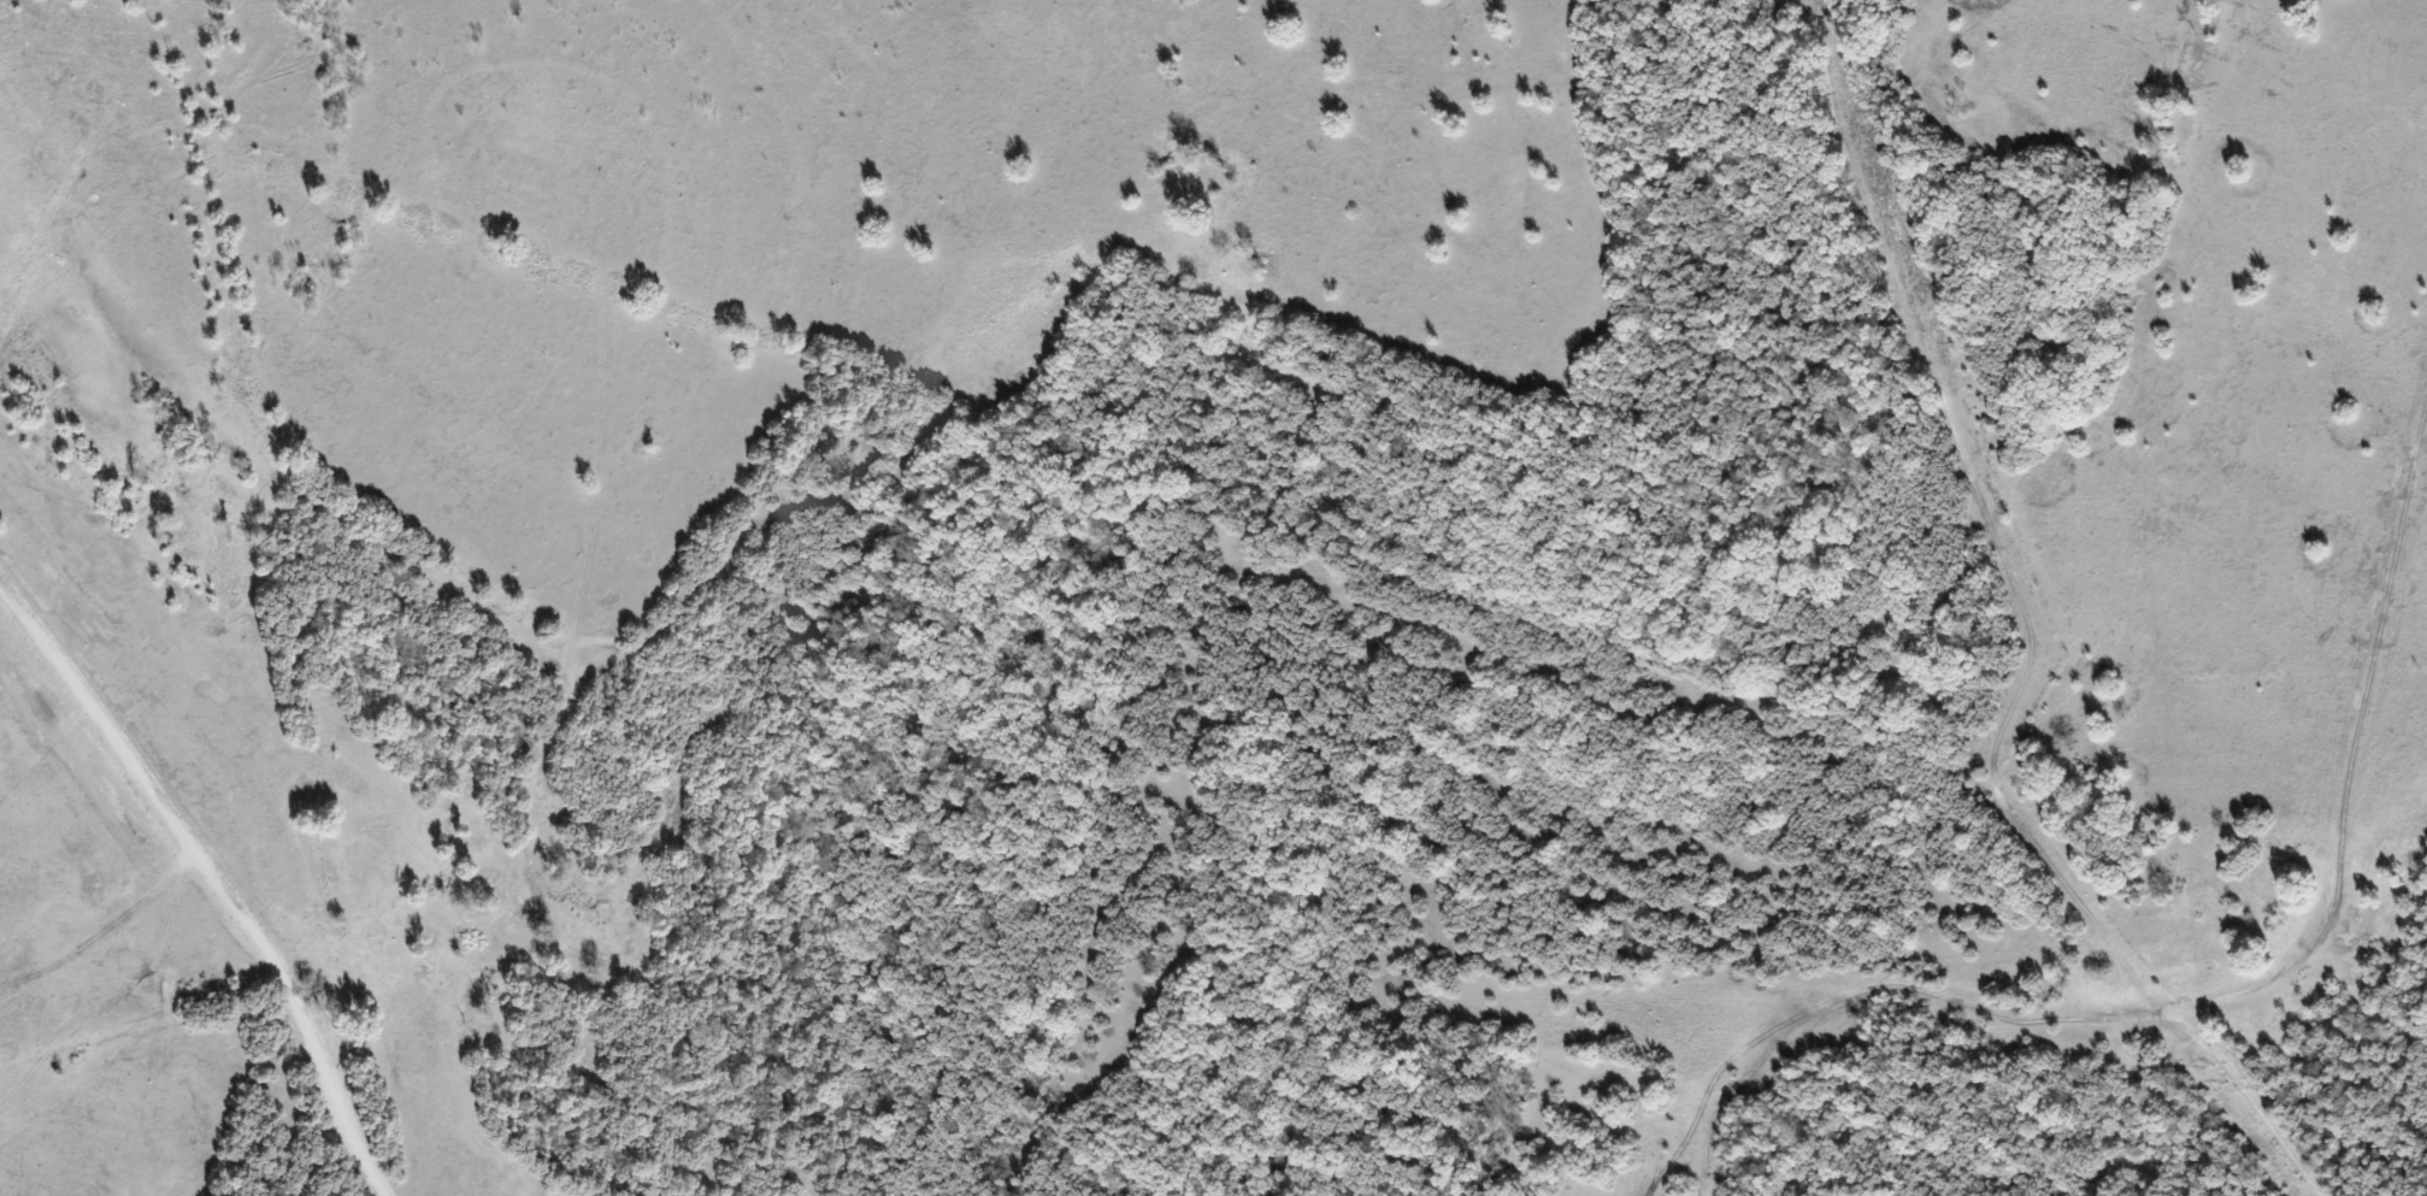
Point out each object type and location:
road: (2028, 632)
road: (216, 885)

